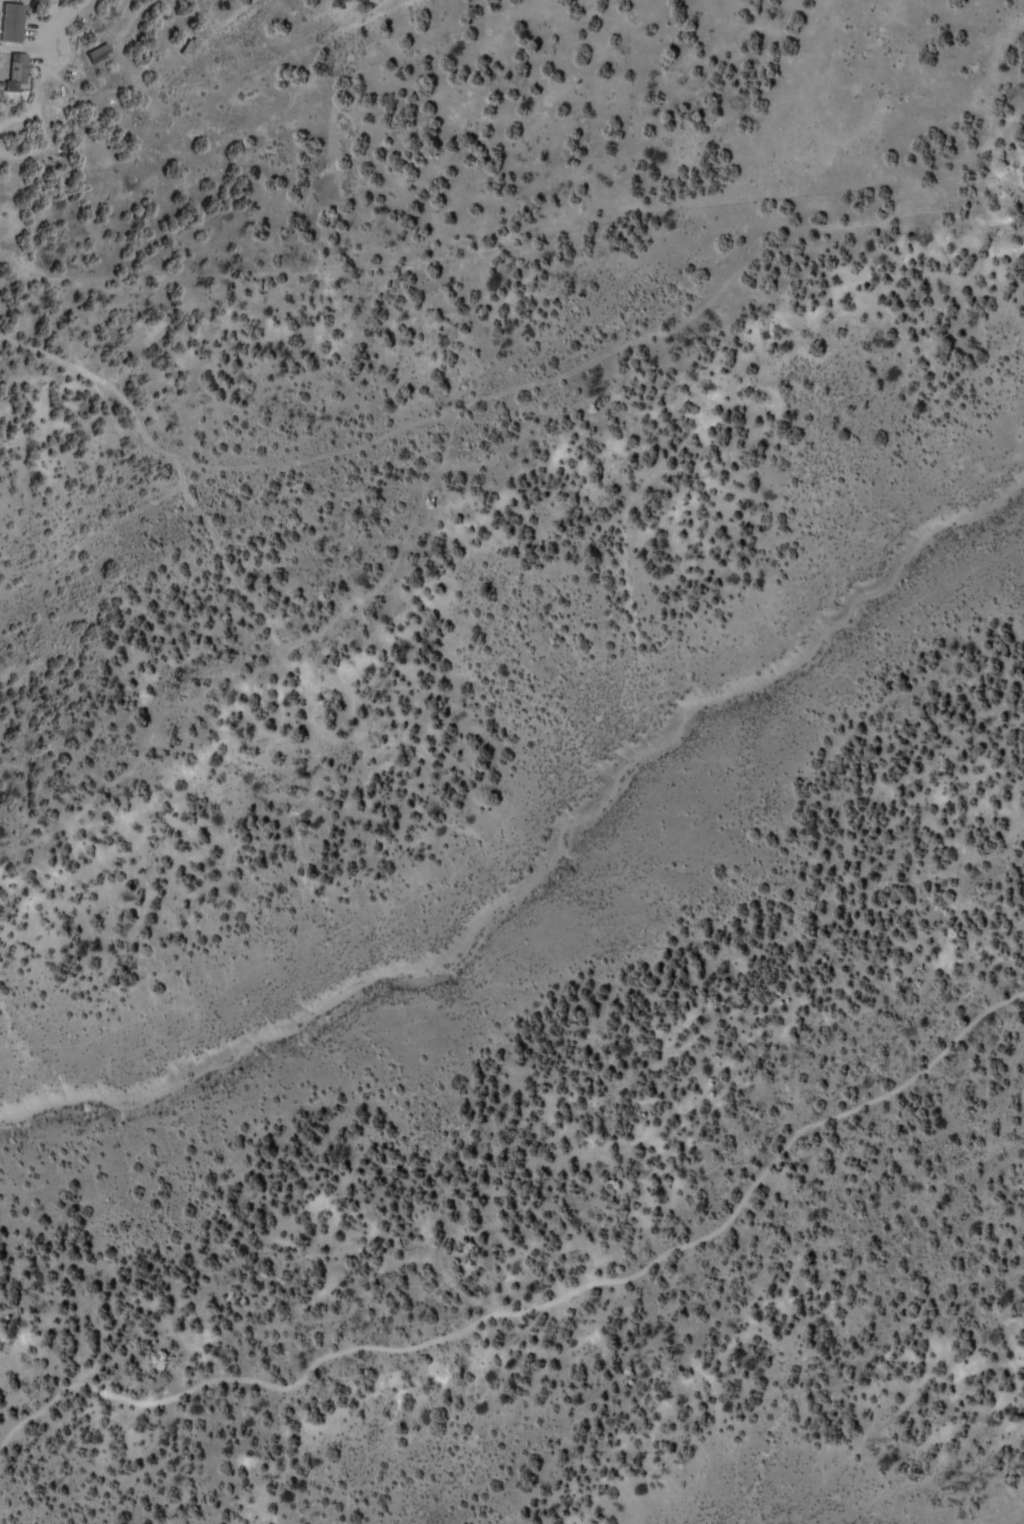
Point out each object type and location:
road: (64, 5)
road: (77, 7)
building: (8, 22)
building: (10, 70)

